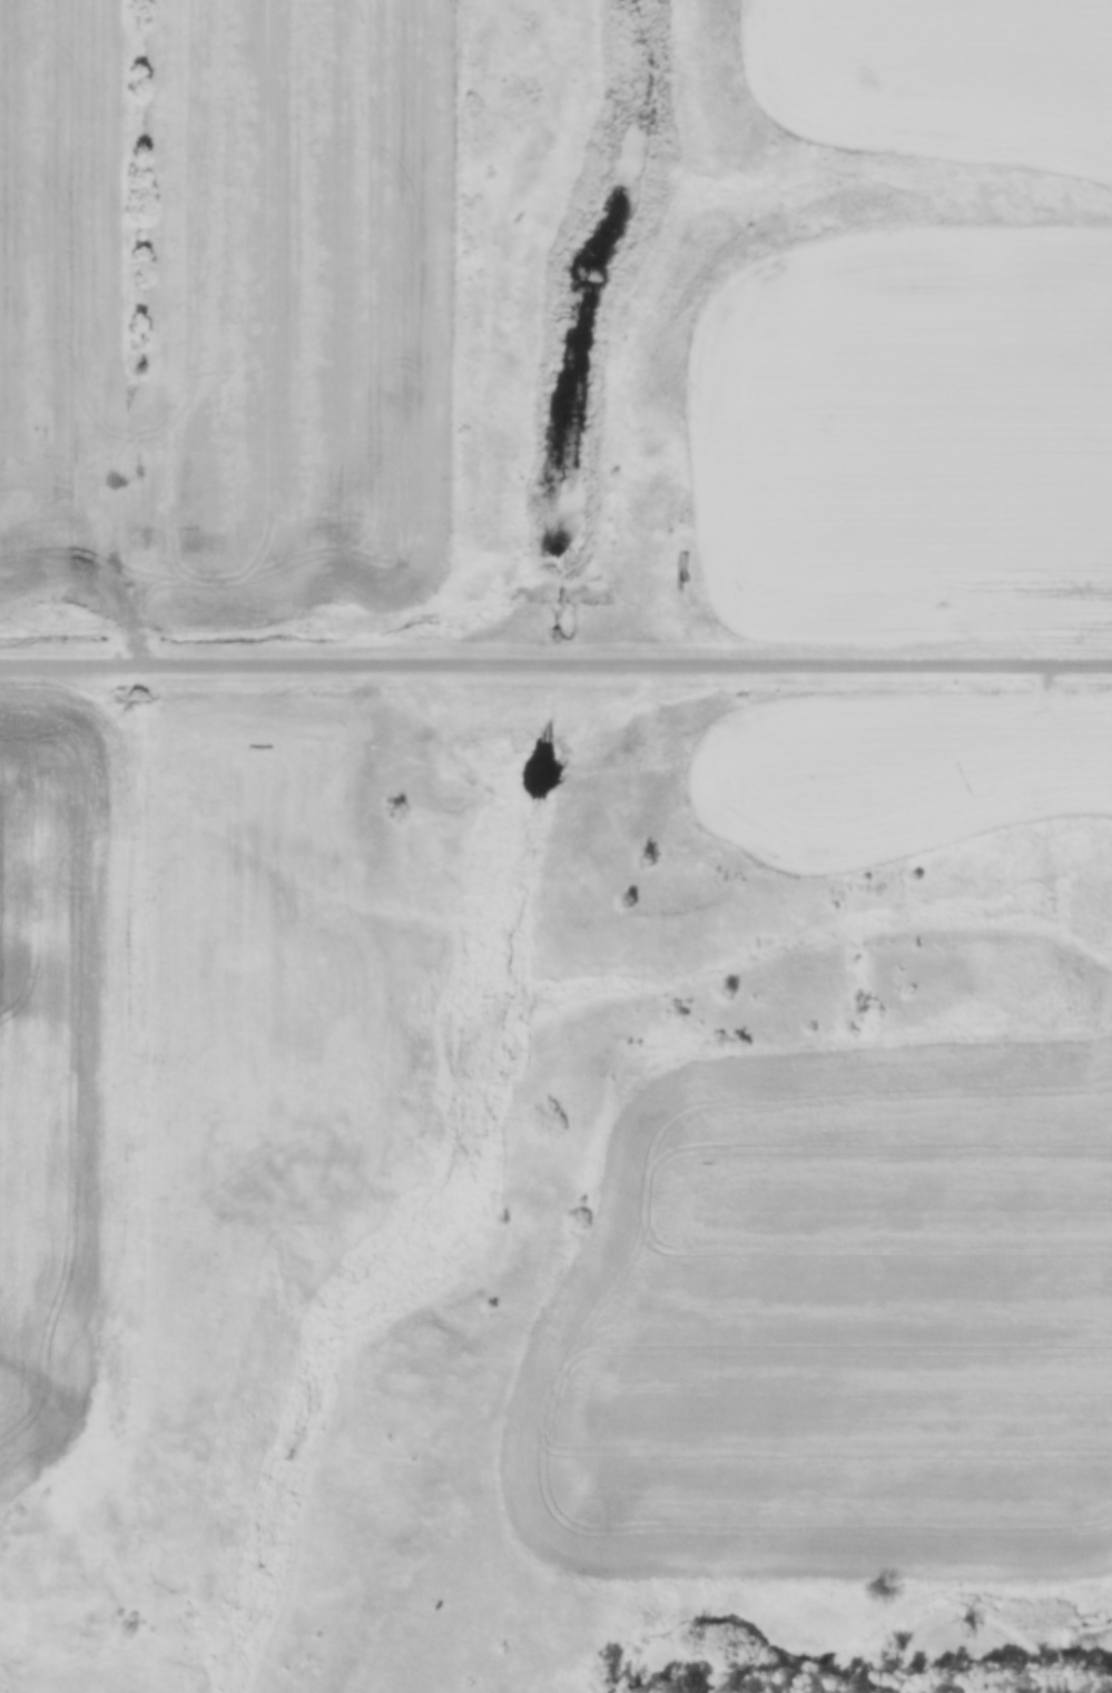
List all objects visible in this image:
road: (555, 665)

